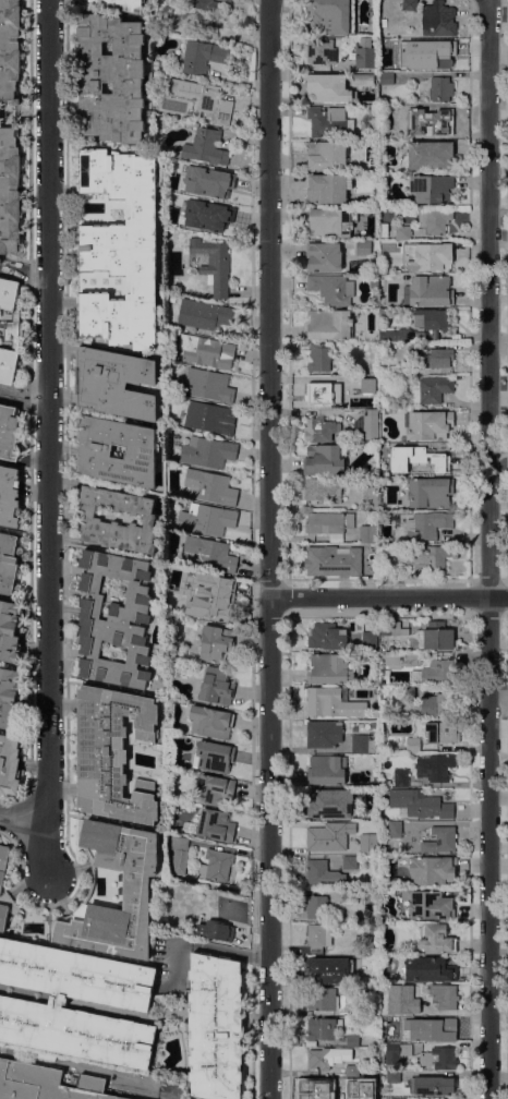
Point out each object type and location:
building: (118, 3)
building: (409, 4)
building: (209, 5)
building: (329, 15)
building: (438, 19)
building: (373, 23)
building: (423, 41)
building: (322, 50)
building: (444, 52)
building: (202, 56)
building: (365, 57)
building: (110, 77)
building: (387, 77)
building: (362, 78)
building: (328, 87)
building: (440, 90)
building: (203, 99)
building: (443, 119)
building: (329, 120)
building: (10, 126)
building: (411, 131)
building: (206, 146)
building: (327, 155)
building: (431, 155)
building: (172, 183)
building: (328, 188)
building: (431, 188)
building: (208, 194)
building: (173, 204)
building: (207, 215)
building: (435, 219)
building: (174, 221)
building: (331, 221)
building: (403, 231)
building: (363, 246)
building: (120, 249)
building: (433, 255)
building: (324, 256)
building: (214, 264)
building: (386, 269)
building: (374, 282)
building: (332, 288)
building: (428, 290)
building: (383, 312)
building: (205, 314)
building: (329, 323)
building: (431, 328)
building: (10, 329)
building: (206, 350)
building: (318, 357)
building: (438, 357)
building: (116, 383)
building: (209, 384)
building: (368, 384)
building: (432, 389)
road: (23, 390)
building: (319, 392)
building: (210, 416)
building: (371, 424)
building: (428, 424)
building: (318, 428)
building: (9, 432)
road: (47, 440)
building: (94, 450)
building: (207, 451)
building: (434, 454)
building: (324, 459)
building: (398, 466)
building: (211, 486)
building: (324, 488)
building: (431, 491)
building: (9, 495)
building: (371, 496)
building: (207, 518)
building: (92, 519)
building: (331, 524)
building: (427, 524)
building: (367, 531)
road: (488, 548)
road: (269, 549)
building: (208, 553)
building: (430, 556)
building: (332, 560)
building: (8, 561)
building: (387, 561)
building: (181, 589)
road: (389, 595)
building: (209, 596)
building: (114, 618)
building: (390, 627)
building: (9, 630)
building: (327, 636)
building: (436, 636)
building: (370, 640)
building: (215, 642)
building: (400, 659)
building: (327, 668)
building: (434, 672)
building: (216, 685)
building: (409, 691)
building: (9, 698)
building: (322, 698)
building: (434, 704)
building: (352, 709)
building: (210, 721)
building: (442, 732)
building: (324, 733)
building: (362, 744)
building: (413, 744)
building: (113, 753)
building: (214, 756)
building: (9, 763)
building: (435, 766)
building: (326, 770)
building: (401, 776)
building: (415, 782)
building: (214, 788)
building: (330, 802)
building: (420, 804)
road: (23, 824)
building: (214, 824)
building: (373, 824)
building: (395, 829)
building: (329, 835)
building: (440, 840)
building: (367, 842)
building: (179, 852)
building: (3, 861)
building: (350, 861)
building: (216, 865)
building: (433, 870)
building: (323, 873)
building: (136, 890)
building: (350, 895)
building: (431, 905)
building: (316, 906)
building: (3, 916)
building: (216, 930)
building: (317, 937)
building: (436, 939)
road: (203, 947)
road: (498, 951)
building: (329, 969)
building: (426, 969)
building: (444, 997)
building: (322, 998)
building: (402, 999)
building: (121, 1001)
building: (363, 1009)
building: (390, 1020)
building: (216, 1026)
building: (319, 1028)
building: (439, 1028)
building: (352, 1040)
building: (399, 1049)
building: (319, 1058)
building: (439, 1058)
building: (352, 1071)
building: (394, 1076)
building: (47, 1083)
building: (432, 1085)
building: (318, 1089)
building: (342, 1089)
building: (361, 1094)
building: (449, 1098)

